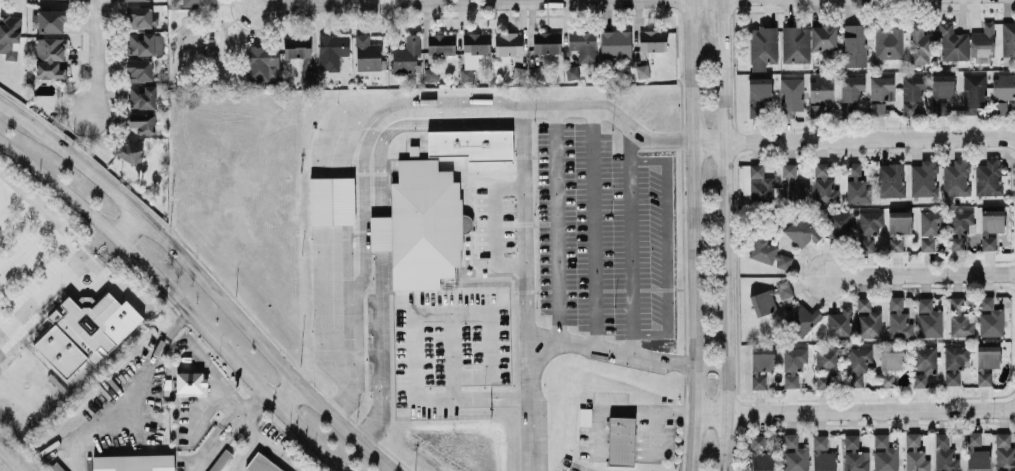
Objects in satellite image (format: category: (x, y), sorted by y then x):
building: (135, 0)
road: (429, 0)
building: (199, 2)
road: (262, 2)
road: (373, 2)
building: (139, 17)
building: (51, 21)
road: (711, 22)
building: (10, 35)
building: (823, 37)
building: (1008, 39)
building: (652, 40)
building: (888, 41)
building: (547, 42)
building: (982, 42)
building: (145, 43)
building: (441, 43)
building: (508, 43)
building: (953, 43)
building: (583, 44)
building: (615, 44)
building: (796, 44)
building: (854, 45)
building: (920, 45)
building: (297, 46)
building: (475, 47)
building: (763, 47)
building: (332, 50)
road: (96, 52)
building: (367, 53)
building: (406, 55)
building: (50, 58)
building: (262, 62)
building: (139, 70)
building: (642, 71)
building: (572, 72)
building: (519, 73)
building: (431, 74)
building: (467, 74)
building: (309, 76)
building: (1003, 86)
building: (852, 88)
building: (912, 92)
building: (941, 92)
building: (820, 93)
building: (882, 93)
building: (974, 93)
building: (758, 94)
building: (791, 95)
building: (142, 97)
building: (1000, 107)
building: (142, 122)
road: (366, 126)
road: (522, 132)
road: (965, 134)
road: (804, 139)
building: (472, 143)
building: (130, 151)
road: (70, 156)
road: (338, 160)
building: (788, 169)
building: (956, 177)
building: (988, 177)
building: (925, 178)
building: (891, 179)
building: (824, 184)
building: (856, 184)
road: (58, 187)
building: (769, 187)
building: (332, 200)
road: (379, 216)
road: (40, 224)
building: (839, 224)
road: (125, 225)
building: (421, 225)
road: (556, 226)
building: (959, 226)
building: (991, 227)
road: (594, 228)
building: (869, 228)
building: (898, 228)
building: (930, 228)
building: (803, 229)
road: (694, 235)
road: (726, 235)
road: (92, 241)
road: (630, 241)
building: (768, 253)
road: (105, 254)
road: (921, 273)
road: (319, 289)
building: (784, 289)
road: (355, 292)
road: (42, 294)
building: (763, 302)
road: (470, 312)
building: (990, 317)
building: (898, 318)
building: (960, 318)
building: (802, 319)
building: (867, 319)
building: (928, 319)
building: (839, 323)
building: (86, 331)
road: (260, 348)
road: (611, 351)
road: (229, 353)
building: (986, 362)
building: (954, 363)
building: (793, 364)
building: (890, 364)
building: (923, 364)
building: (761, 365)
building: (190, 381)
road: (129, 395)
road: (529, 405)
road: (251, 406)
road: (664, 407)
road: (1008, 407)
road: (848, 410)
building: (621, 440)
road: (220, 444)
road: (245, 452)
road: (282, 452)
building: (1004, 452)
building: (758, 453)
building: (915, 453)
building: (945, 453)
building: (976, 453)
building: (794, 454)
building: (855, 454)
building: (884, 454)
building: (133, 462)
building: (259, 464)
building: (56, 467)

